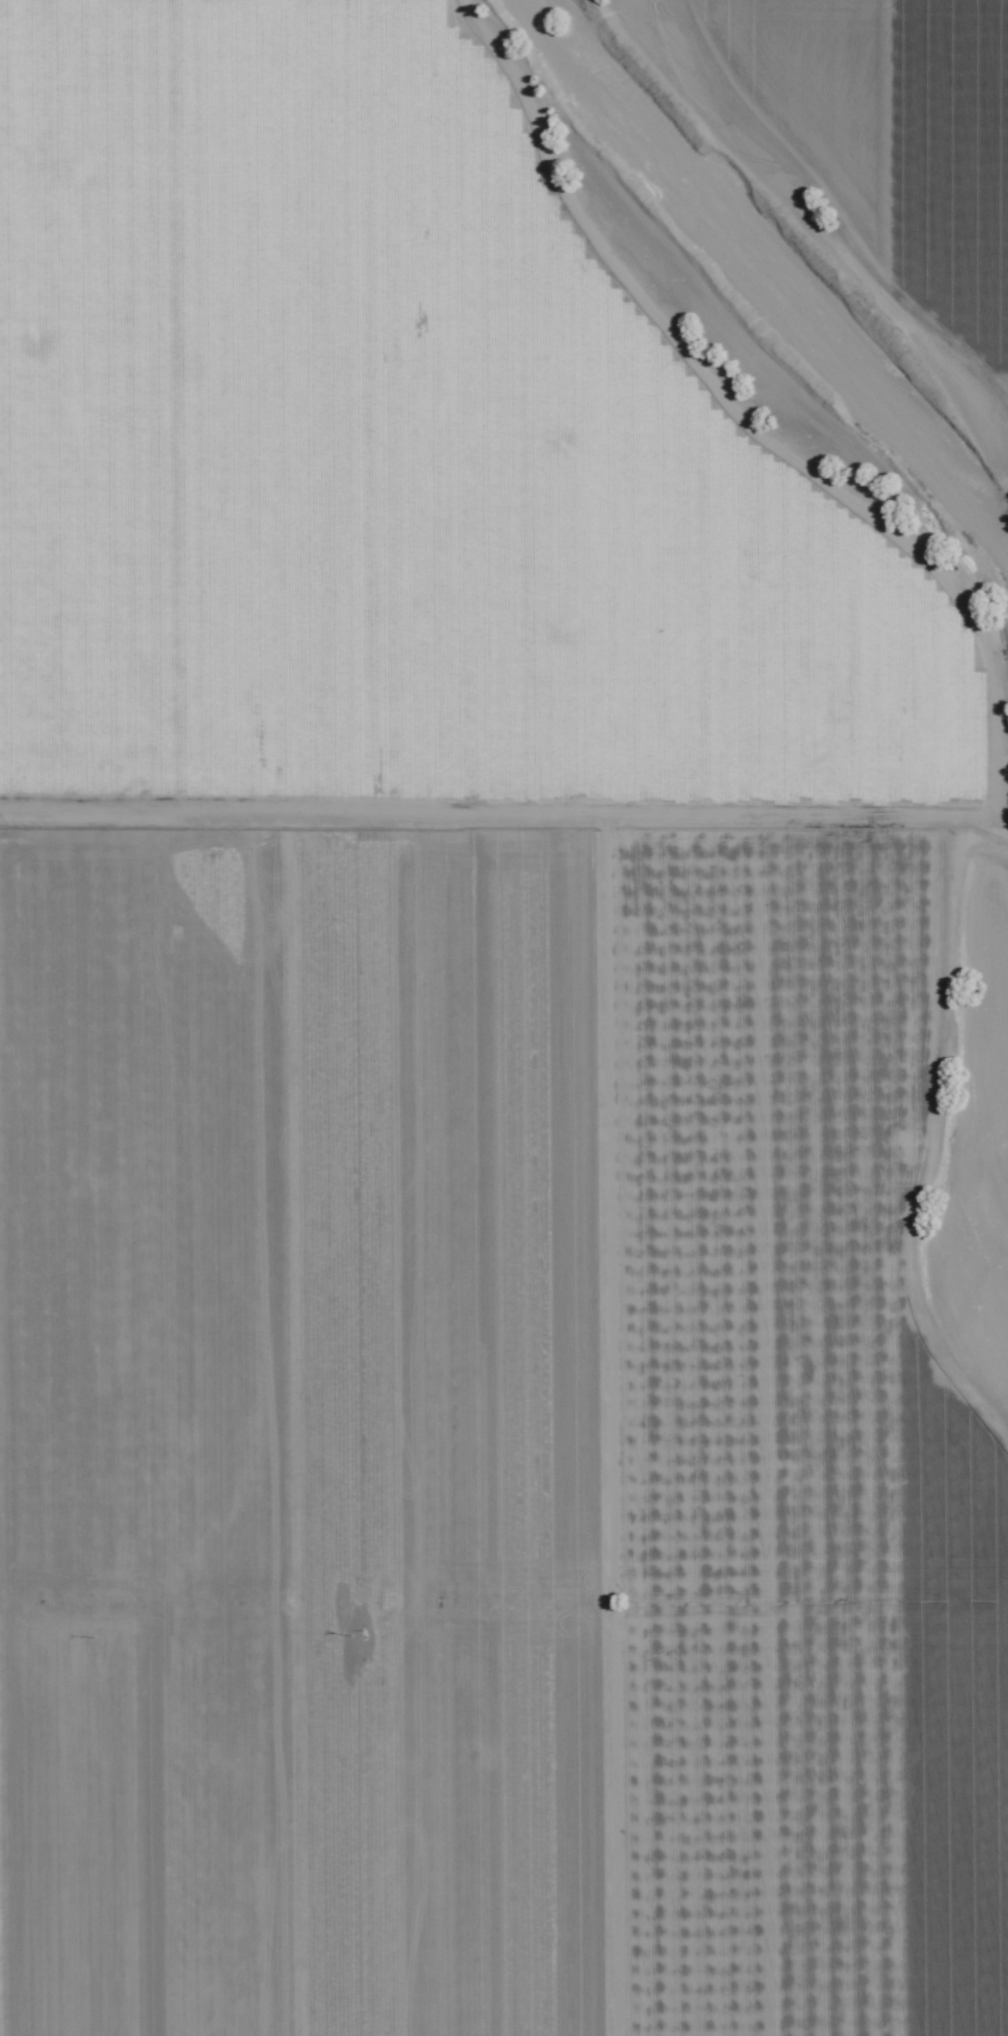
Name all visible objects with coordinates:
road: (504, 811)
crop: (497, 1016)

